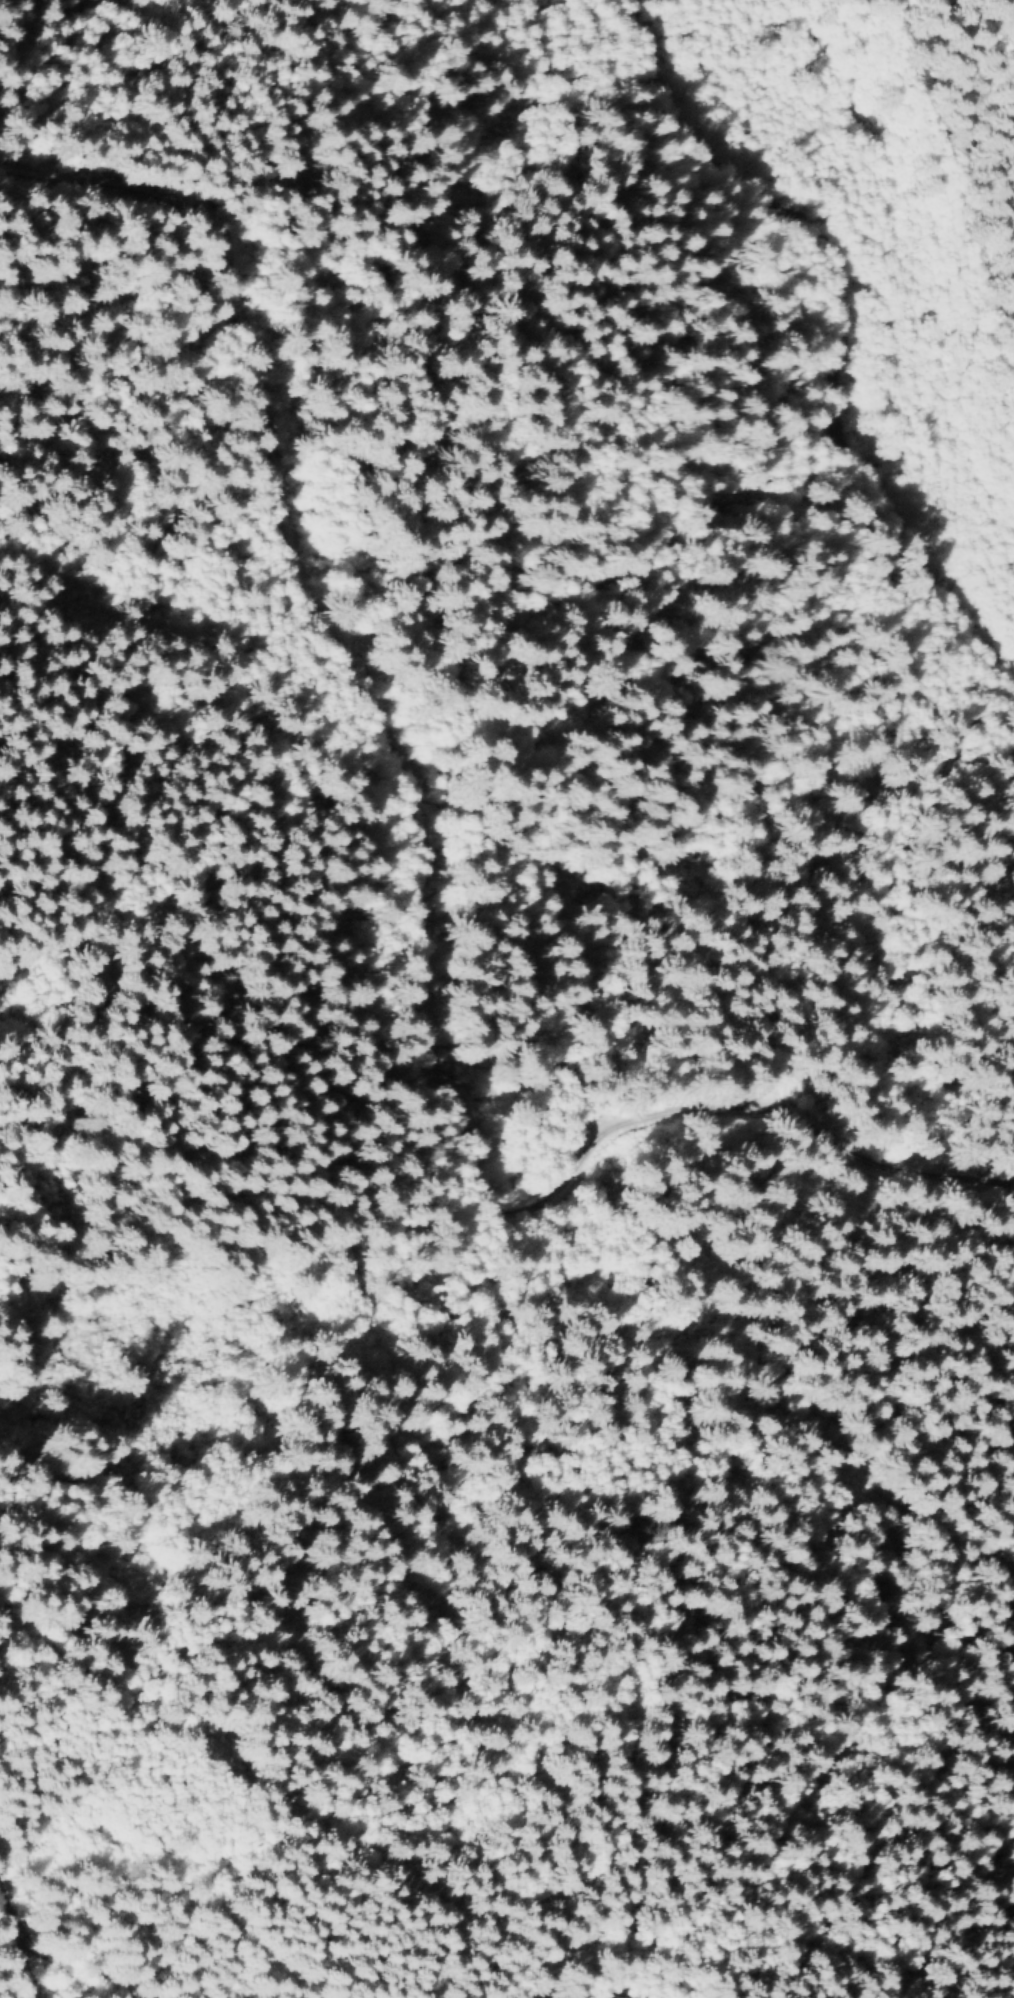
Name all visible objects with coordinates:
road: (837, 312)
road: (419, 828)

